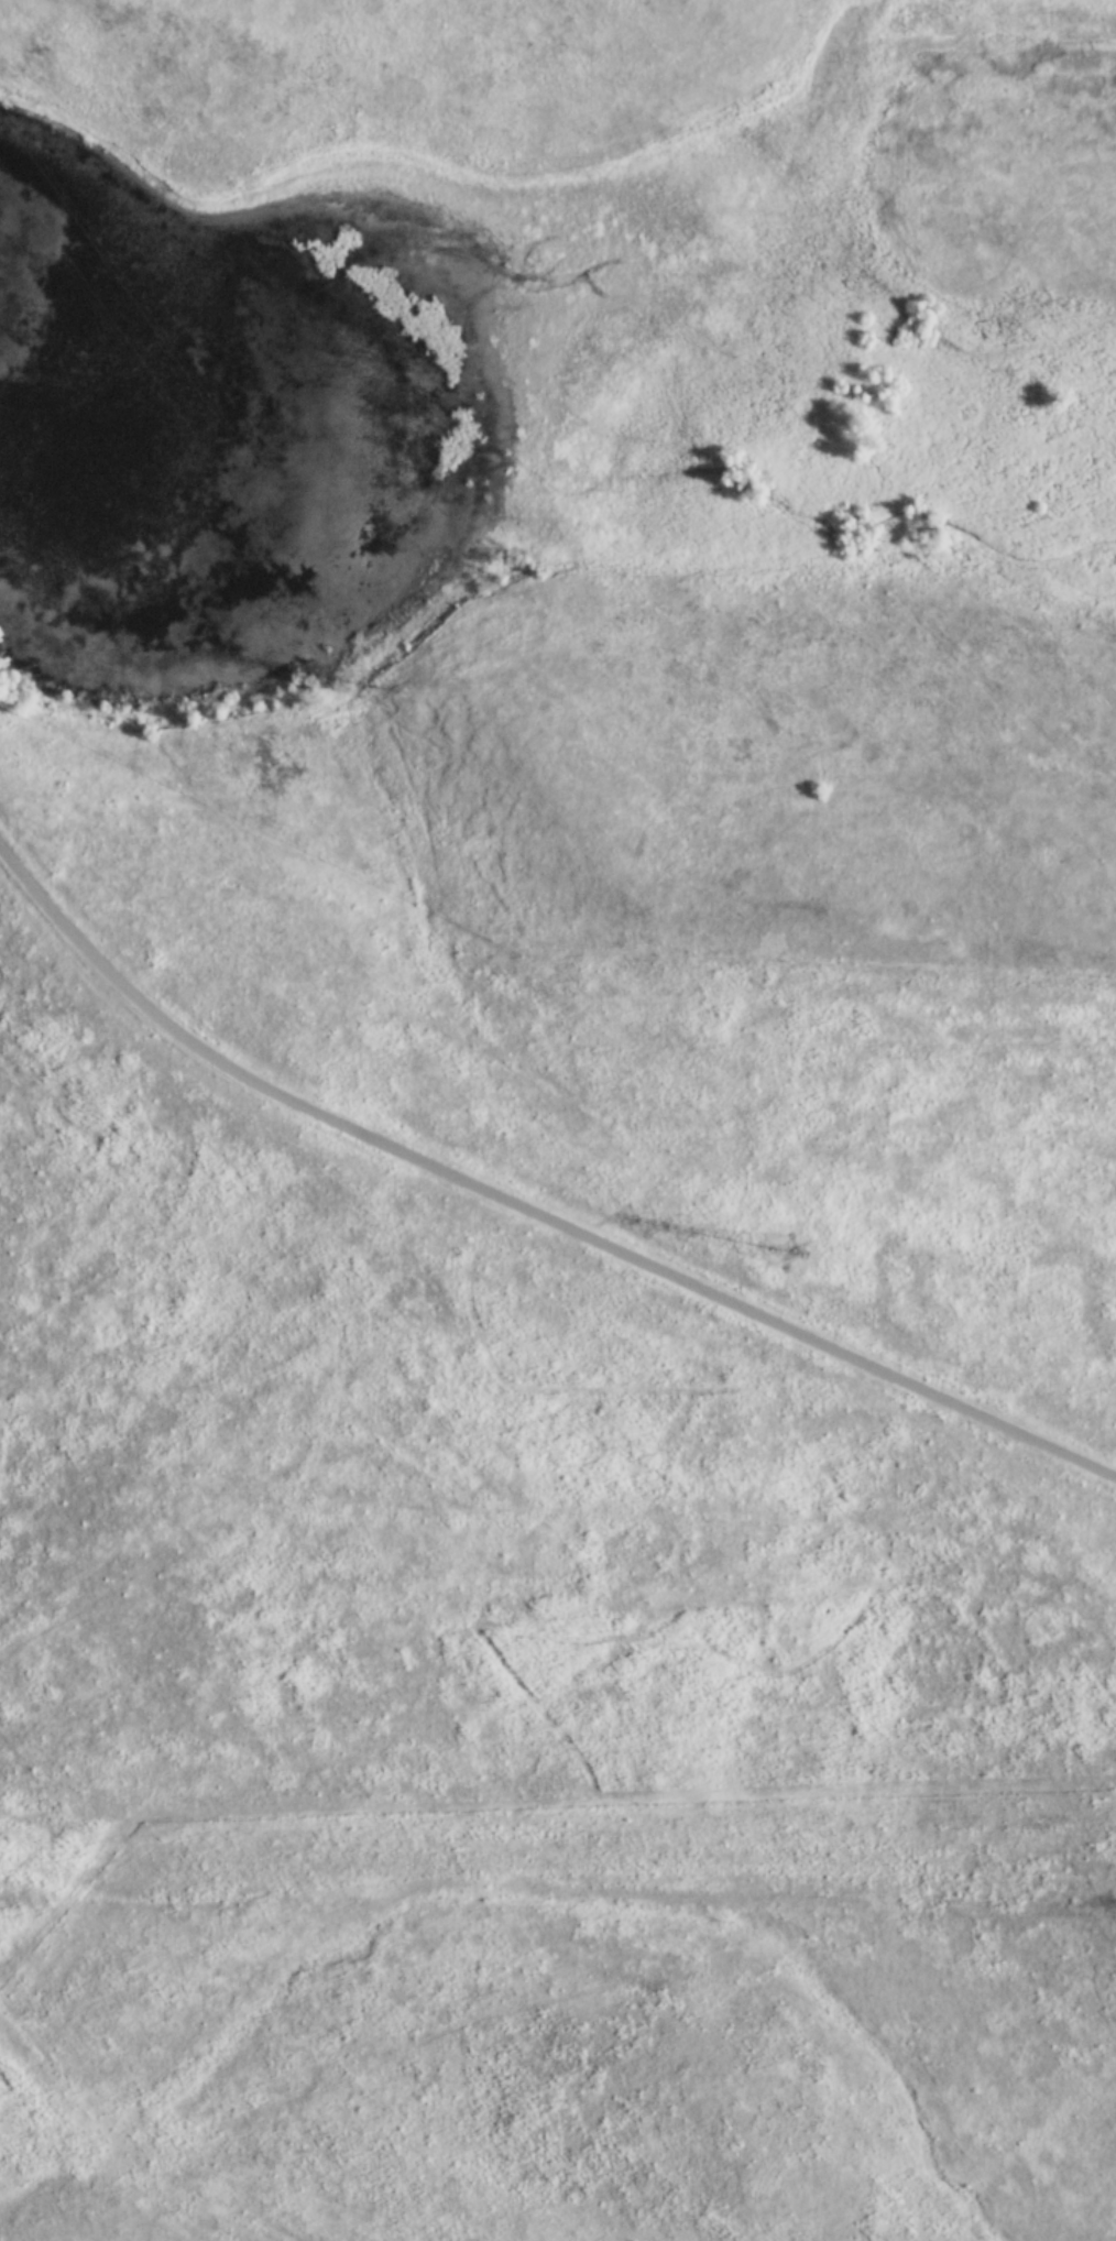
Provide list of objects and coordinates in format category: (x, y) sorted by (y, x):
power tower: (383, 691)
road: (524, 1207)
power tower: (781, 1253)

